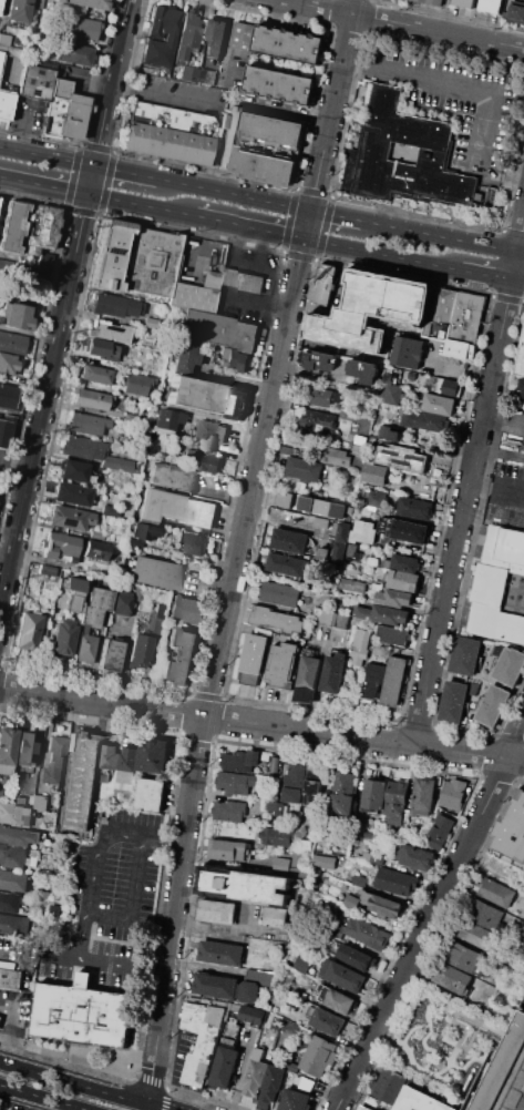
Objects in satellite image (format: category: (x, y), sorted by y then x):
building: (432, 1)
building: (463, 2)
building: (35, 3)
building: (84, 3)
building: (491, 6)
building: (16, 11)
building: (75, 12)
building: (516, 12)
road: (408, 22)
building: (75, 29)
building: (152, 35)
building: (187, 35)
building: (244, 38)
building: (215, 39)
building: (289, 44)
building: (8, 48)
building: (72, 54)
building: (188, 74)
building: (204, 77)
building: (34, 83)
building: (279, 83)
road: (480, 88)
road: (25, 100)
road: (222, 103)
building: (4, 104)
building: (63, 112)
building: (266, 128)
building: (169, 134)
park: (477, 143)
building: (405, 155)
road: (47, 157)
building: (256, 165)
traffic signals: (93, 167)
road: (124, 173)
road: (513, 176)
road: (43, 186)
road: (330, 194)
traffic signals: (88, 195)
road: (233, 195)
road: (140, 205)
traffic signals: (311, 211)
road: (417, 212)
road: (336, 215)
building: (12, 226)
road: (249, 227)
building: (42, 230)
road: (513, 232)
road: (440, 236)
road: (522, 238)
traffic signals: (306, 240)
road: (263, 247)
road: (521, 253)
road: (383, 254)
building: (109, 256)
building: (151, 264)
road: (229, 264)
road: (258, 264)
building: (42, 266)
road: (515, 266)
building: (16, 269)
road: (486, 275)
road: (226, 277)
building: (240, 279)
road: (517, 282)
building: (323, 283)
building: (195, 294)
road: (223, 294)
road: (507, 297)
road: (64, 302)
building: (0, 306)
building: (114, 306)
road: (255, 309)
building: (371, 313)
building: (441, 313)
building: (470, 316)
building: (19, 317)
building: (1, 319)
building: (151, 324)
building: (107, 332)
building: (218, 332)
road: (28, 334)
building: (12, 344)
building: (101, 349)
building: (460, 350)
building: (408, 352)
building: (183, 357)
building: (233, 359)
building: (521, 359)
building: (320, 360)
building: (8, 365)
building: (364, 370)
building: (94, 375)
building: (413, 380)
building: (390, 384)
building: (135, 385)
building: (449, 386)
building: (521, 386)
building: (327, 397)
building: (7, 398)
building: (206, 398)
building: (91, 400)
building: (439, 404)
building: (317, 418)
building: (166, 419)
building: (424, 420)
building: (86, 424)
building: (383, 430)
building: (208, 431)
building: (3, 434)
building: (394, 435)
building: (84, 448)
building: (289, 450)
building: (341, 455)
building: (402, 458)
building: (202, 459)
road: (14, 461)
building: (117, 465)
building: (304, 468)
building: (435, 470)
building: (73, 471)
building: (374, 473)
building: (171, 478)
building: (439, 482)
road: (223, 490)
road: (496, 491)
parking lot: (506, 492)
building: (72, 496)
building: (284, 498)
building: (379, 498)
building: (360, 502)
building: (311, 503)
building: (415, 507)
building: (175, 509)
building: (335, 509)
building: (110, 511)
road: (463, 511)
building: (70, 518)
road: (280, 520)
building: (320, 521)
building: (404, 529)
building: (342, 531)
building: (363, 531)
building: (143, 532)
building: (95, 534)
building: (290, 539)
building: (193, 542)
building: (134, 543)
building: (60, 546)
road: (238, 548)
building: (94, 550)
building: (351, 550)
building: (339, 551)
building: (325, 553)
building: (386, 562)
building: (405, 562)
building: (286, 563)
building: (45, 570)
building: (155, 573)
road: (464, 576)
building: (403, 581)
building: (351, 584)
road: (208, 585)
building: (500, 585)
building: (280, 592)
building: (395, 598)
building: (121, 603)
building: (188, 609)
building: (160, 611)
building: (382, 614)
building: (85, 615)
building: (326, 617)
building: (276, 619)
building: (146, 620)
building: (29, 631)
building: (392, 634)
building: (61, 638)
building: (360, 645)
building: (138, 652)
building: (465, 654)
building: (179, 655)
building: (110, 656)
building: (253, 656)
building: (281, 663)
building: (508, 665)
building: (335, 672)
building: (309, 676)
building: (373, 680)
building: (394, 681)
road: (224, 690)
road: (205, 694)
building: (454, 701)
building: (491, 704)
road: (261, 722)
road: (415, 723)
road: (508, 736)
road: (514, 737)
building: (7, 745)
building: (25, 749)
building: (153, 754)
building: (265, 756)
building: (109, 757)
building: (54, 760)
building: (239, 761)
building: (127, 764)
building: (275, 764)
building: (4, 771)
building: (82, 780)
building: (235, 782)
building: (294, 783)
building: (314, 785)
building: (124, 787)
building: (453, 793)
building: (151, 794)
building: (343, 794)
building: (373, 795)
building: (423, 795)
building: (19, 800)
building: (395, 803)
building: (280, 808)
building: (229, 811)
building: (37, 813)
building: (11, 814)
building: (512, 828)
building: (439, 832)
building: (19, 835)
building: (276, 835)
building: (355, 843)
building: (317, 846)
building: (230, 848)
building: (12, 856)
building: (297, 856)
building: (372, 857)
building: (419, 857)
building: (322, 860)
building: (280, 865)
building: (298, 872)
building: (17, 880)
building: (331, 882)
building: (358, 882)
building: (394, 882)
building: (249, 886)
building: (496, 892)
building: (44, 893)
road: (132, 898)
building: (351, 900)
building: (9, 902)
building: (381, 904)
road: (86, 906)
building: (55, 909)
building: (217, 912)
building: (482, 913)
building: (277, 919)
building: (24, 925)
building: (69, 927)
road: (222, 927)
building: (367, 933)
building: (473, 933)
road: (422, 934)
building: (220, 953)
building: (355, 956)
building: (465, 957)
building: (301, 963)
building: (342, 975)
building: (505, 975)
building: (260, 976)
building: (451, 977)
building: (11, 978)
building: (226, 986)
building: (298, 987)
road: (10, 994)
road: (21, 994)
building: (335, 998)
building: (82, 1014)
building: (251, 1014)
road: (459, 1014)
building: (0, 1017)
building: (327, 1020)
road: (8, 1022)
road: (429, 1027)
road: (413, 1028)
building: (201, 1038)
building: (229, 1039)
road: (468, 1045)
road: (468, 1050)
building: (258, 1052)
building: (319, 1056)
road: (423, 1063)
building: (224, 1067)
building: (292, 1067)
road: (417, 1067)
building: (485, 1068)
road: (239, 1070)
road: (443, 1070)
building: (255, 1076)
building: (507, 1078)
road: (484, 1080)
building: (273, 1082)
building: (306, 1082)
road: (86, 1083)
building: (387, 1084)
road: (38, 1098)
building: (296, 1100)
building: (371, 1101)
building: (419, 1101)
building: (363, 1108)
road: (165, 1109)

